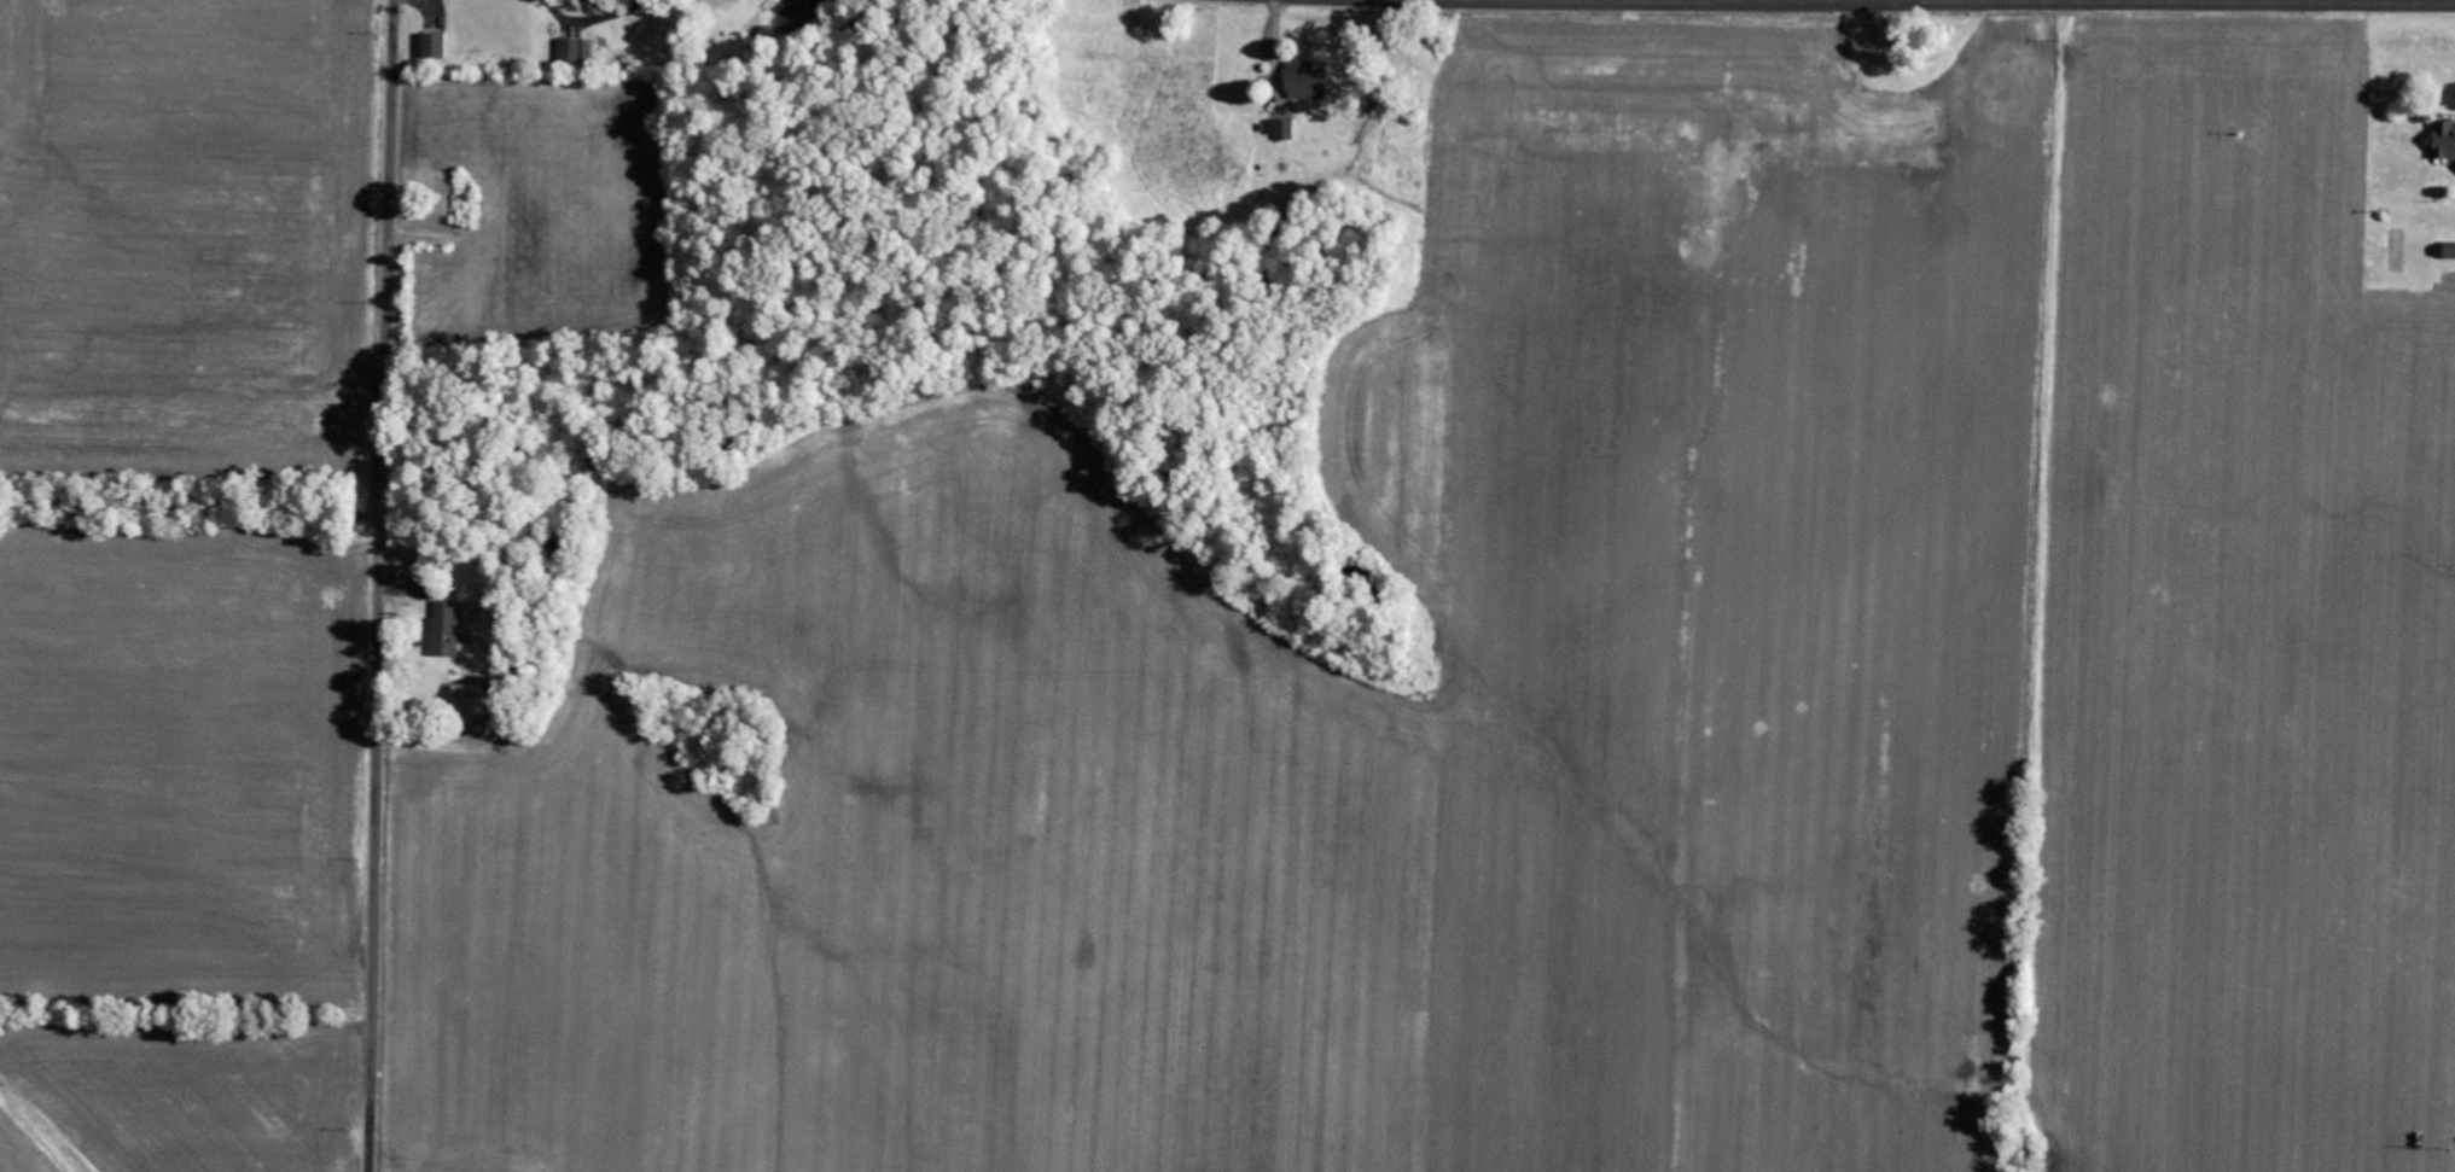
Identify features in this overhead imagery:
road: (1740, 1)
road: (1957, 2)
building: (434, 47)
building: (576, 52)
building: (1307, 82)
building: (1280, 129)
building: (2444, 141)
building: (2450, 253)
road: (379, 585)
building: (446, 630)
building: (467, 704)

